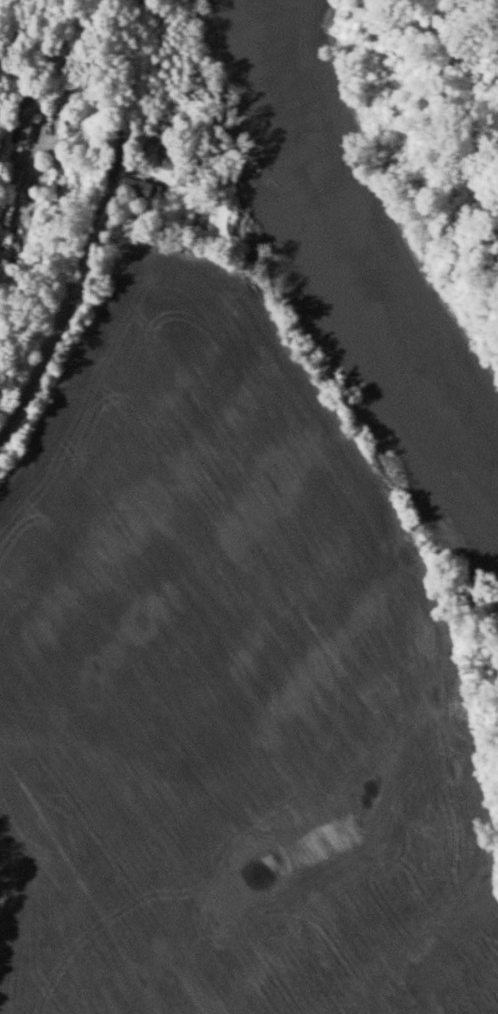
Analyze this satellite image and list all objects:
road: (62, 169)
road: (96, 234)
river: (364, 247)

